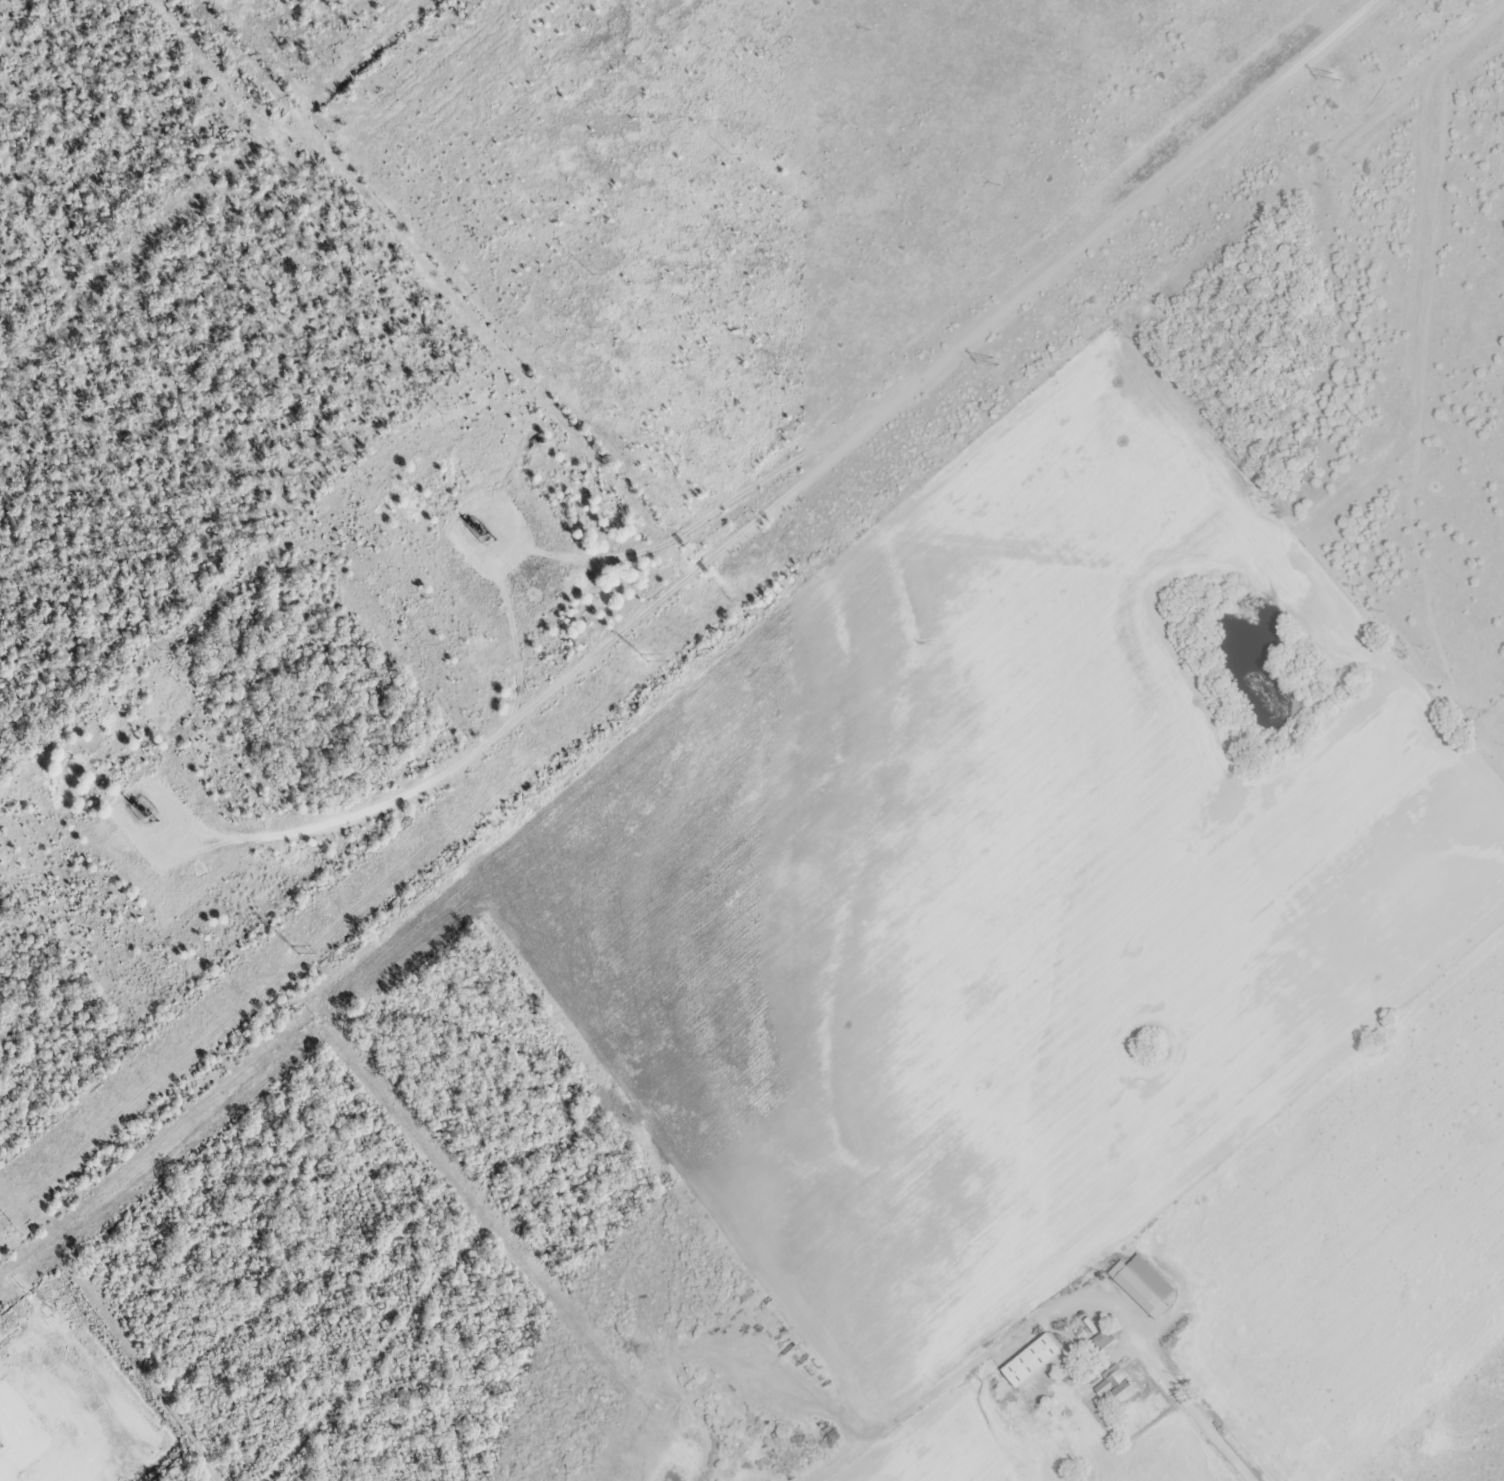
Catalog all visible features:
power tower: (1335, 78)
power tower: (996, 363)
road: (804, 468)
road: (690, 522)
power tower: (641, 653)
power tower: (293, 946)
building: (1143, 1287)
building: (1099, 1344)
road: (1147, 1353)
building: (1032, 1363)
building: (1117, 1388)

